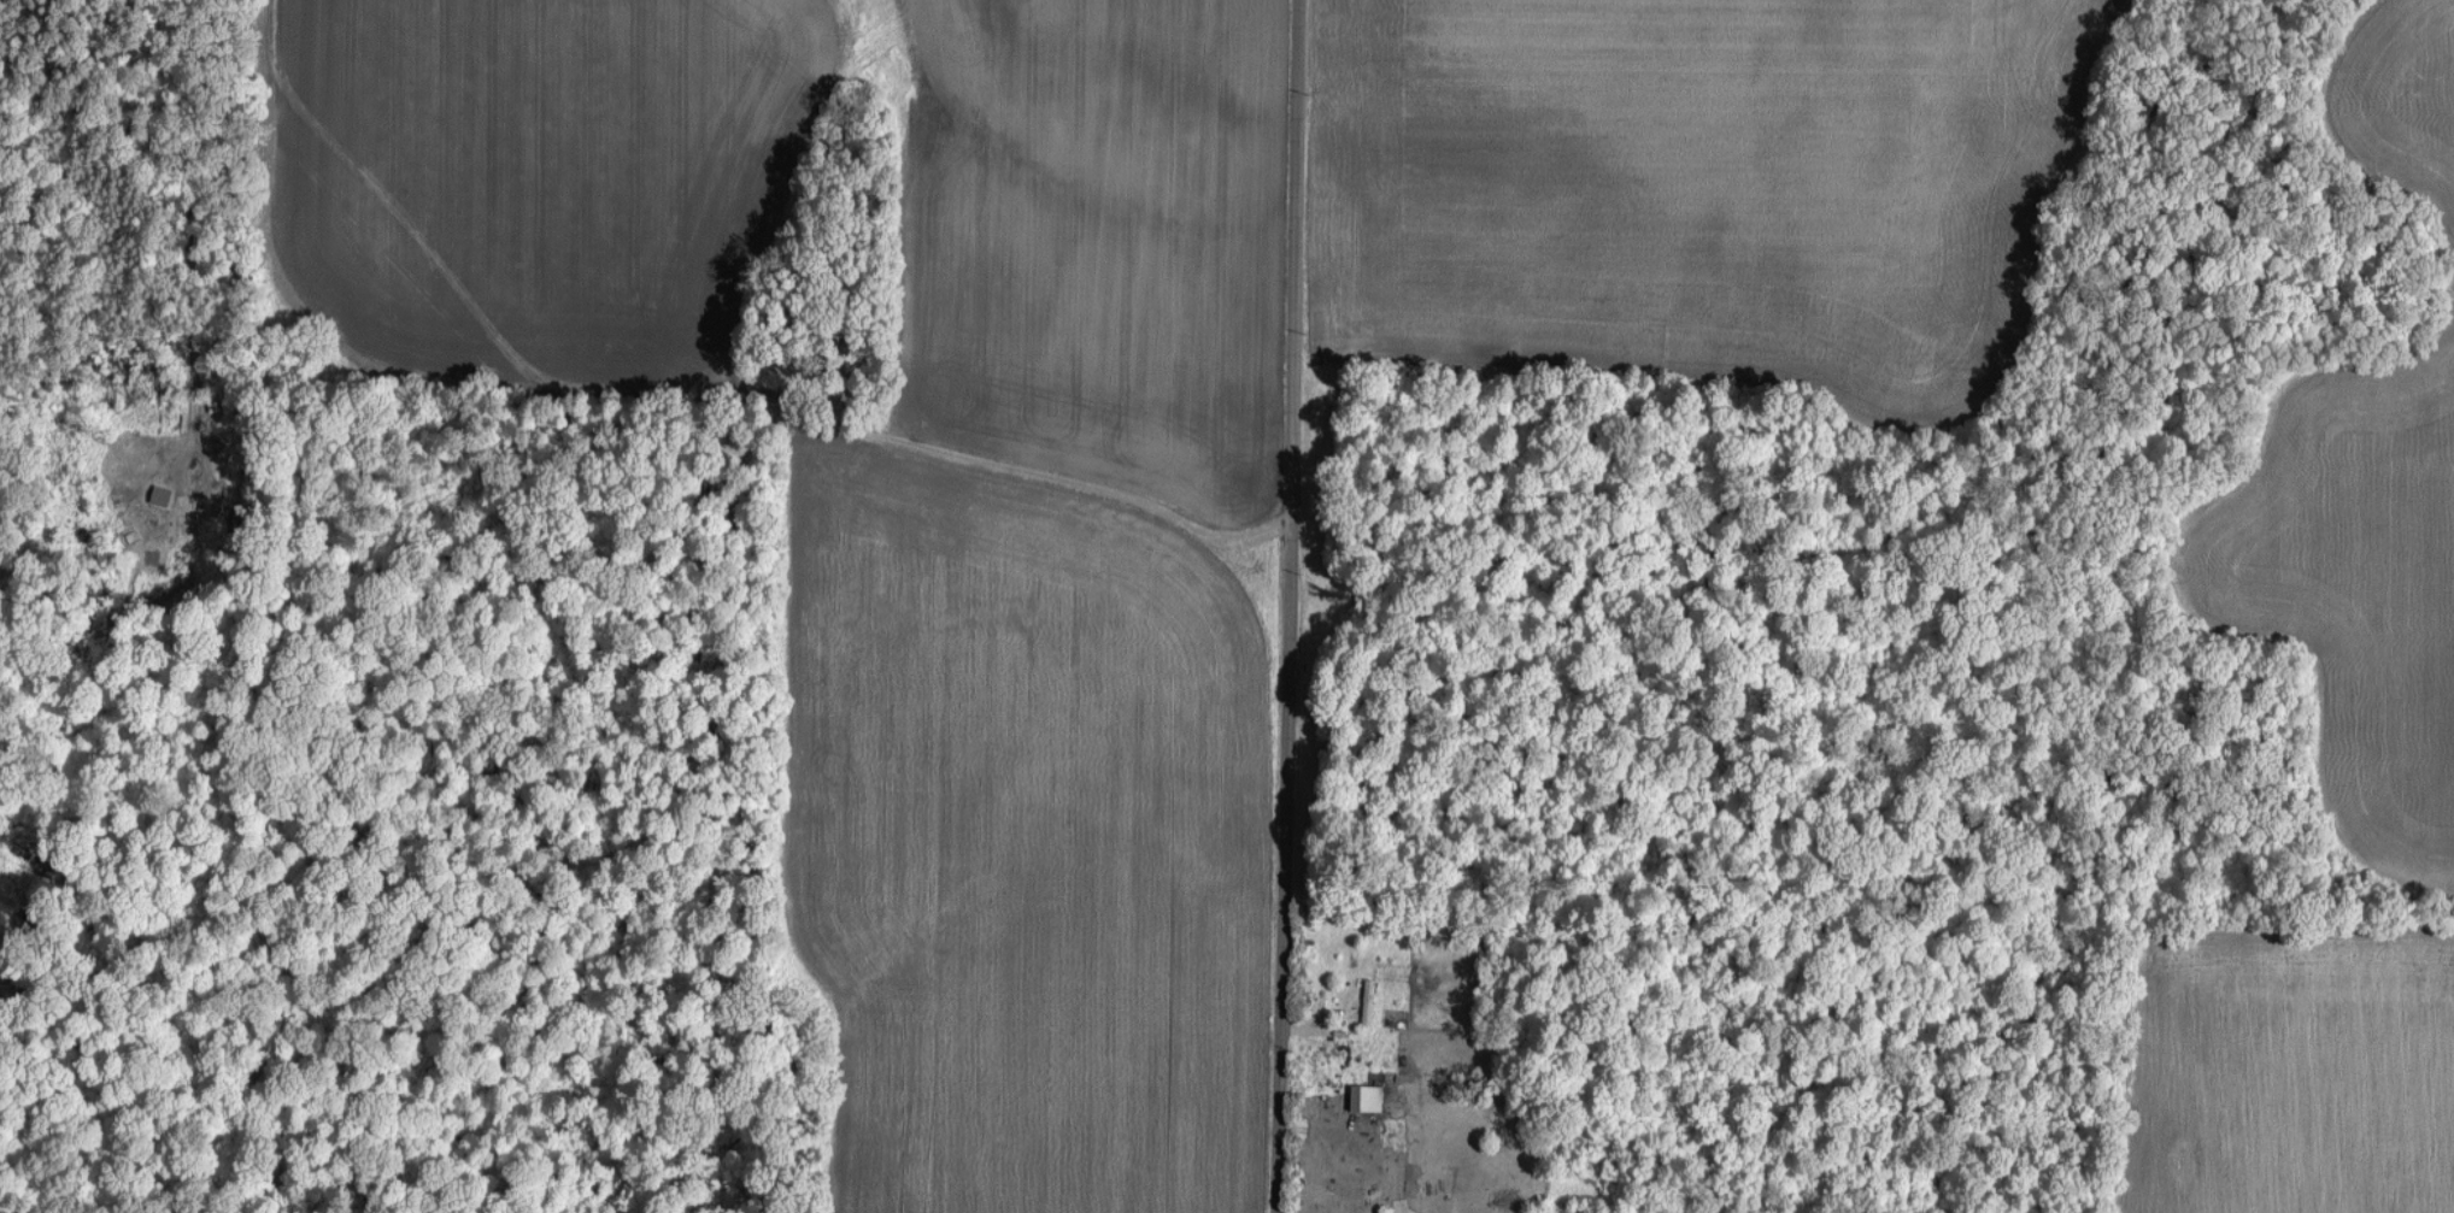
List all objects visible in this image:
road: (30, 446)
building: (162, 494)
road: (1288, 606)
building: (1369, 1001)
building: (1368, 1096)

